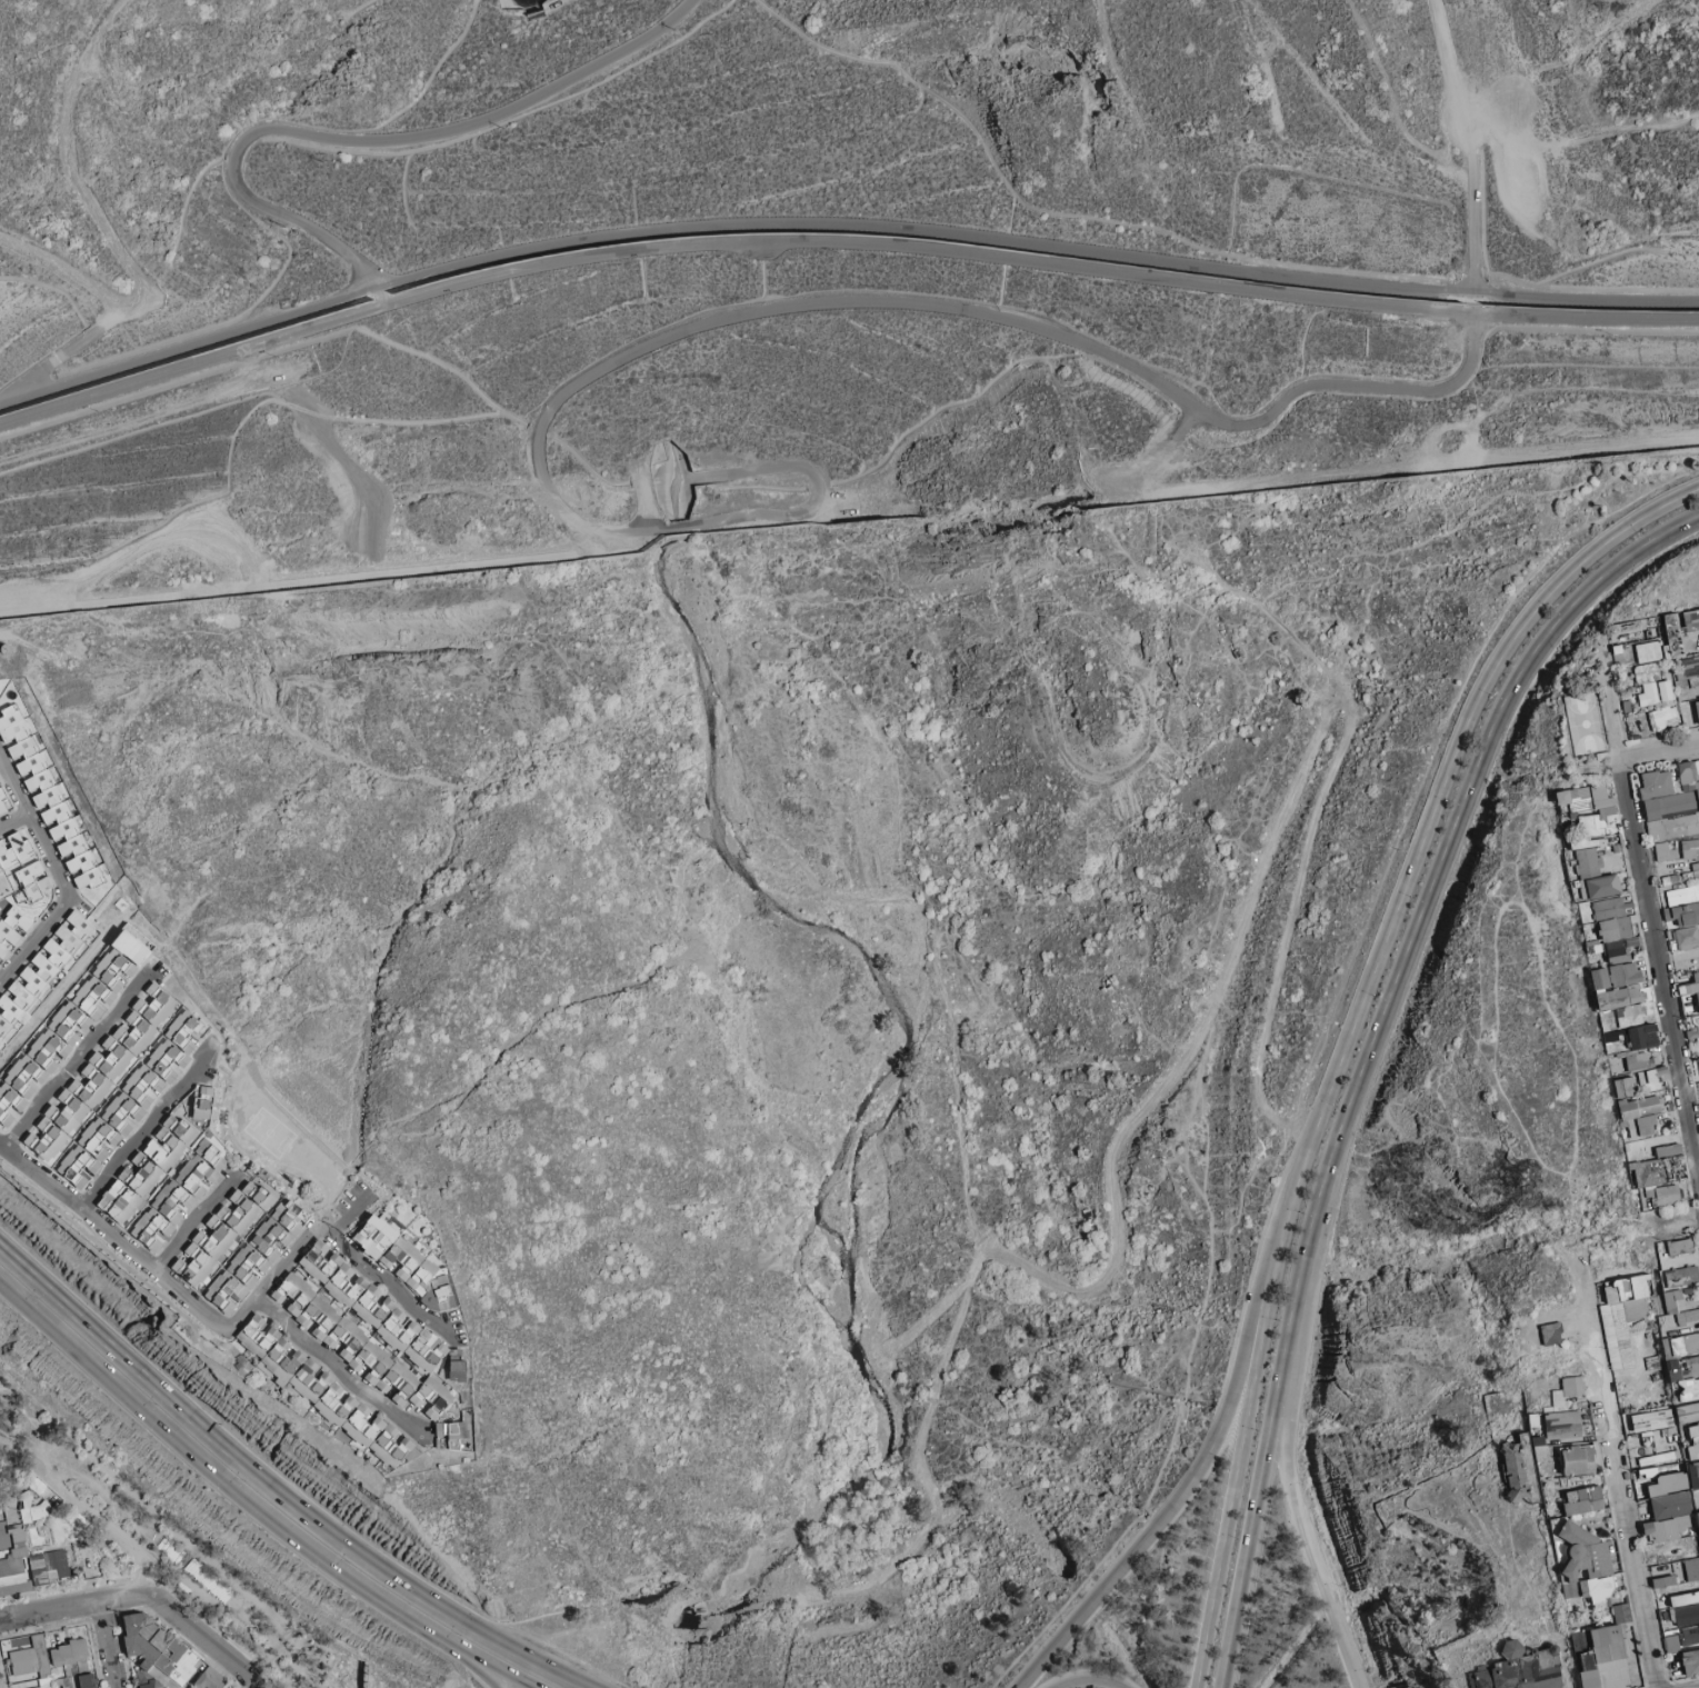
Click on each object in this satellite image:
road: (108, 26)
road: (361, 142)
road: (87, 188)
road: (839, 224)
road: (839, 244)
road: (68, 263)
road: (66, 352)
road: (1171, 389)
road: (778, 467)
road: (1372, 472)
road: (1128, 491)
road: (668, 532)
road: (318, 580)
building: (1691, 620)
building: (1683, 632)
building: (1675, 636)
building: (1691, 667)
building: (1648, 673)
building: (1667, 691)
building: (1652, 695)
building: (1697, 709)
building: (1687, 711)
road: (1613, 712)
building: (1663, 718)
building: (42, 793)
building: (44, 796)
building: (1671, 801)
building: (3, 802)
road: (13, 818)
road: (33, 825)
building: (1590, 838)
building: (14, 851)
road: (1415, 851)
building: (1665, 851)
building: (1692, 856)
building: (32, 882)
building: (1682, 895)
building: (1681, 916)
building: (11, 928)
building: (1612, 930)
road: (1416, 931)
building: (1686, 937)
building: (44, 972)
building: (1689, 1002)
building: (1621, 1013)
building: (71, 1022)
building: (8, 1040)
building: (1698, 1061)
building: (99, 1075)
building: (1650, 1079)
building: (1623, 1087)
building: (131, 1100)
building: (1639, 1115)
building: (167, 1175)
building: (1661, 1178)
building: (222, 1232)
building: (257, 1256)
building: (406, 1263)
building: (1622, 1317)
building: (1678, 1321)
building: (366, 1329)
building: (1550, 1334)
building: (457, 1370)
building: (320, 1390)
building: (1567, 1391)
building: (1532, 1420)
building: (1647, 1420)
building: (1562, 1425)
road: (198, 1426)
building: (450, 1435)
building: (1693, 1439)
building: (1539, 1448)
building: (1579, 1459)
building: (1652, 1471)
building: (1693, 1474)
building: (1667, 1484)
building: (1582, 1500)
building: (1669, 1505)
building: (32, 1509)
building: (1697, 1519)
building: (1663, 1529)
building: (27, 1560)
building: (1691, 1568)
building: (157, 1651)
building: (74, 1661)
building: (32, 1662)
building: (209, 1680)

